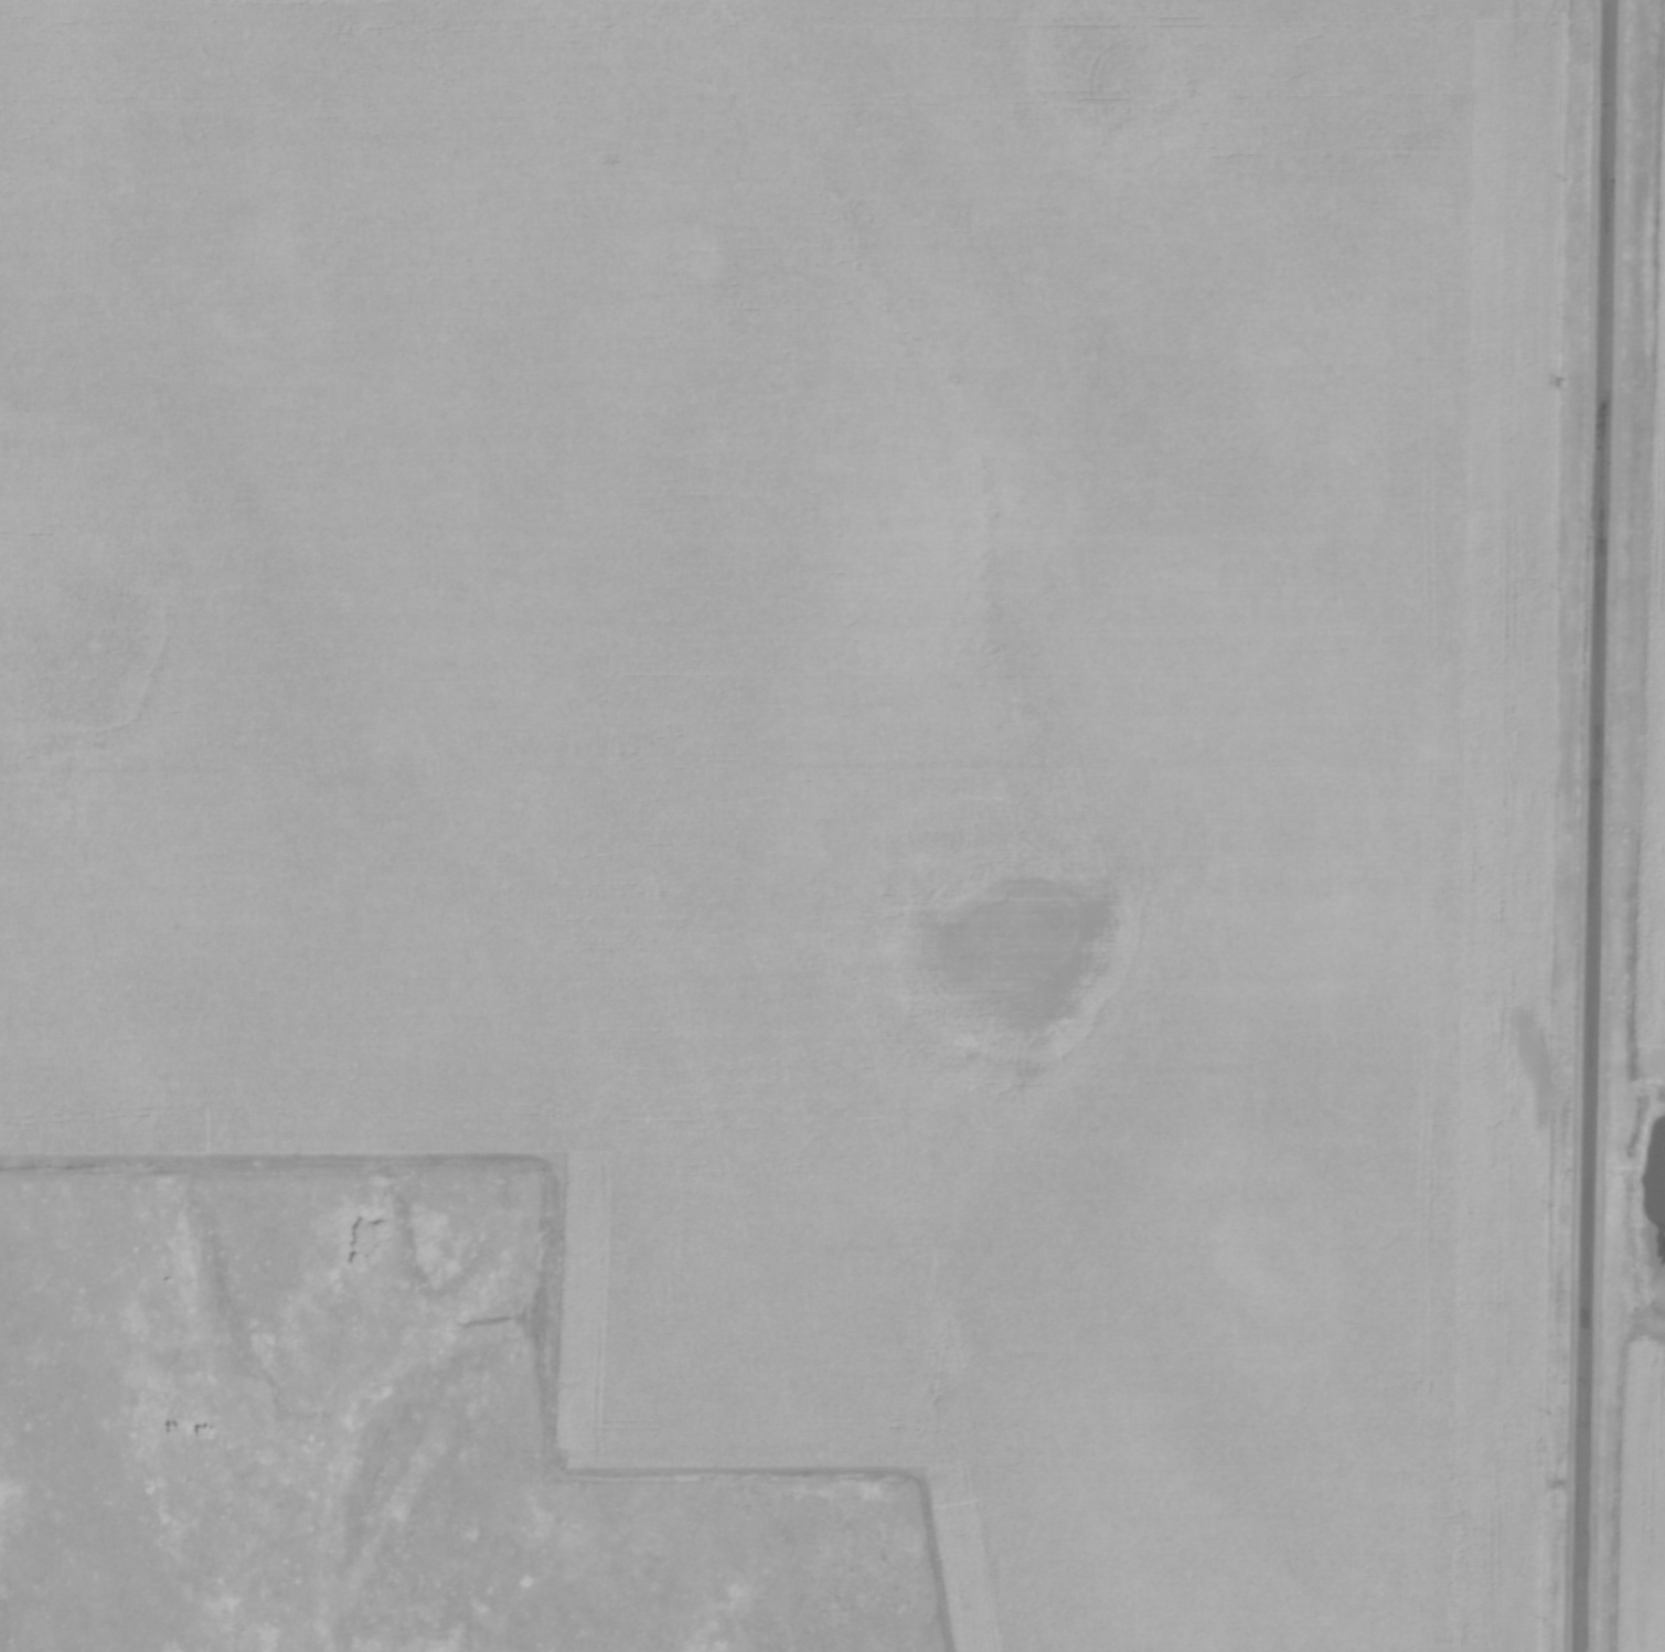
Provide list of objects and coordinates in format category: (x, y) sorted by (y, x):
road: (1594, 825)

